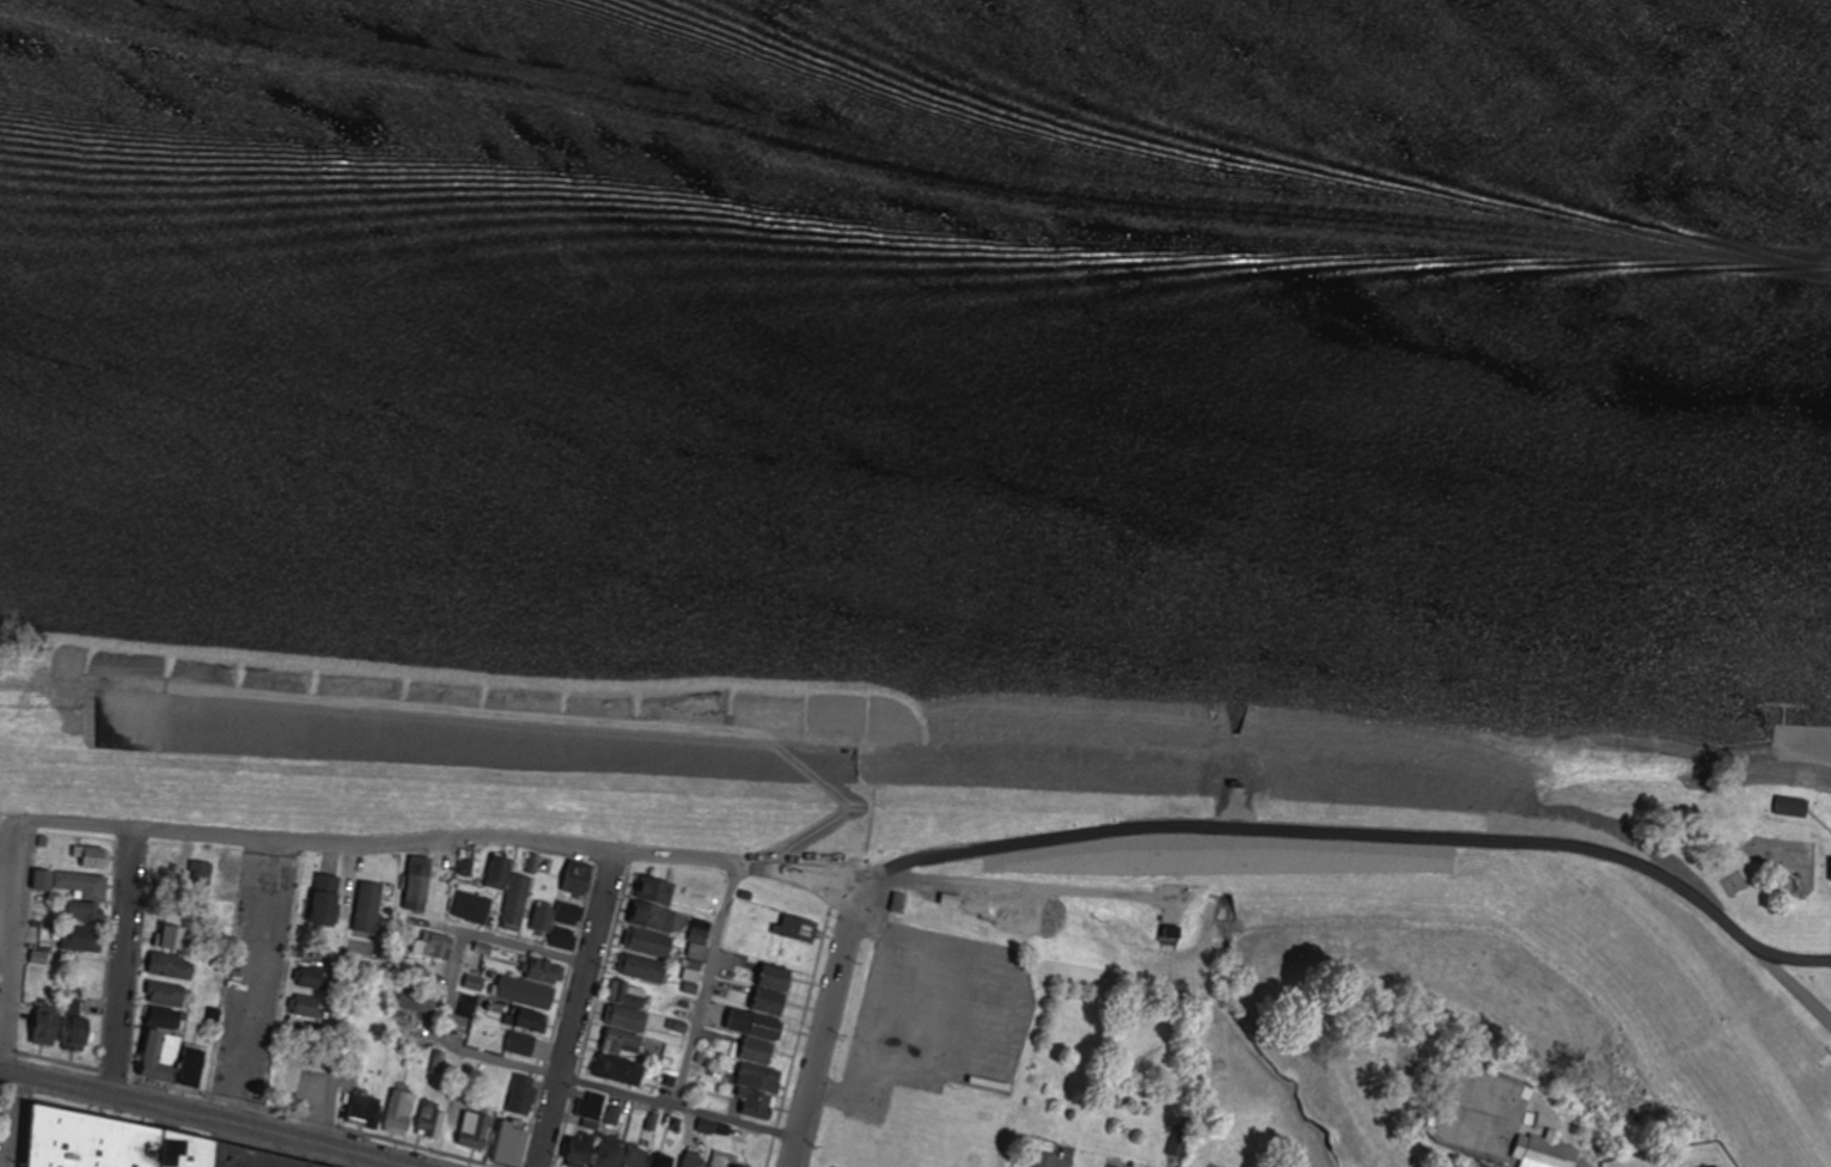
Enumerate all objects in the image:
river: (916, 139)
building: (1793, 808)
road: (496, 839)
road: (1369, 843)
building: (92, 861)
building: (468, 869)
building: (201, 879)
building: (581, 881)
building: (420, 885)
building: (73, 886)
road: (12, 888)
building: (658, 892)
building: (512, 893)
building: (329, 903)
building: (370, 909)
building: (474, 910)
building: (86, 915)
building: (654, 919)
building: (560, 924)
building: (798, 930)
building: (177, 936)
building: (651, 945)
building: (432, 948)
road: (123, 964)
building: (645, 971)
building: (547, 973)
building: (779, 980)
road: (255, 984)
road: (706, 986)
road: (453, 988)
road: (335, 996)
road: (575, 1010)
road: (824, 1028)
road: (677, 1108)
road: (199, 1118)
road: (12, 1120)
building: (133, 1145)

